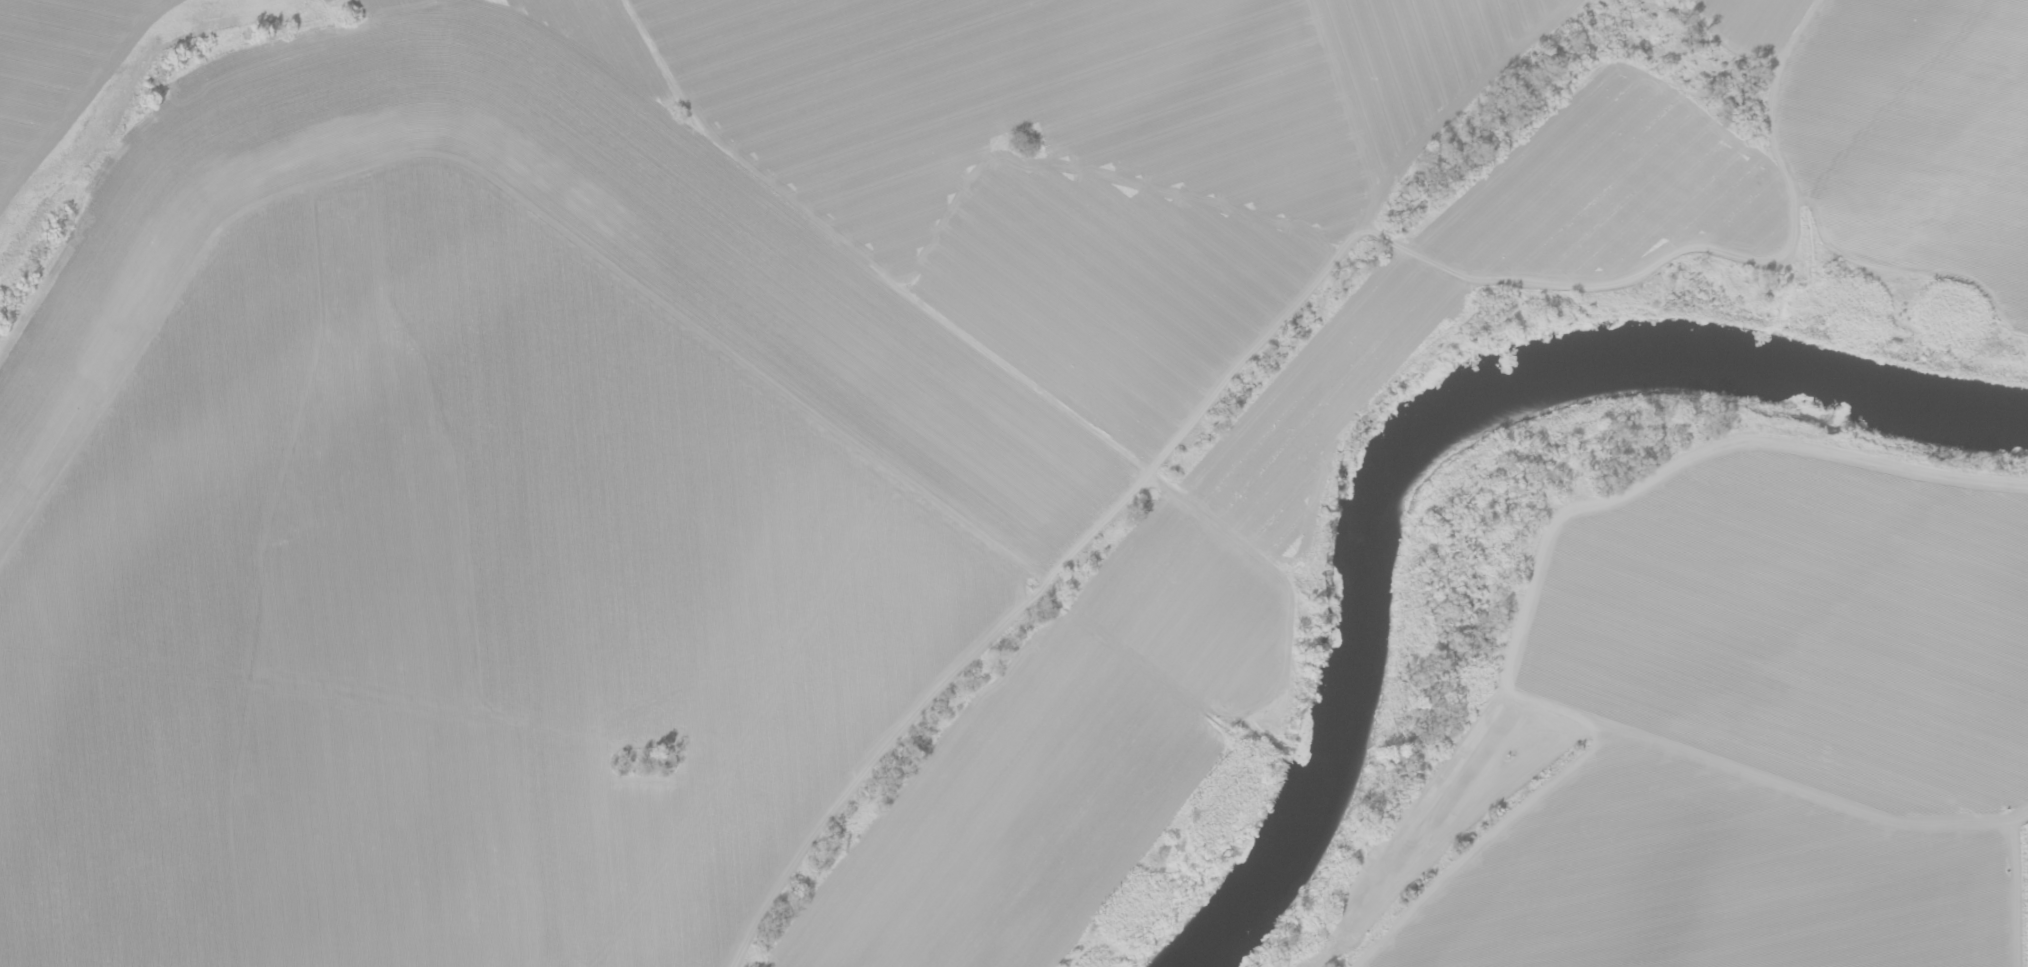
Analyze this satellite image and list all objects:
river: (1440, 429)
road: (1641, 482)
road: (1804, 801)
road: (1476, 850)
road: (2011, 881)

